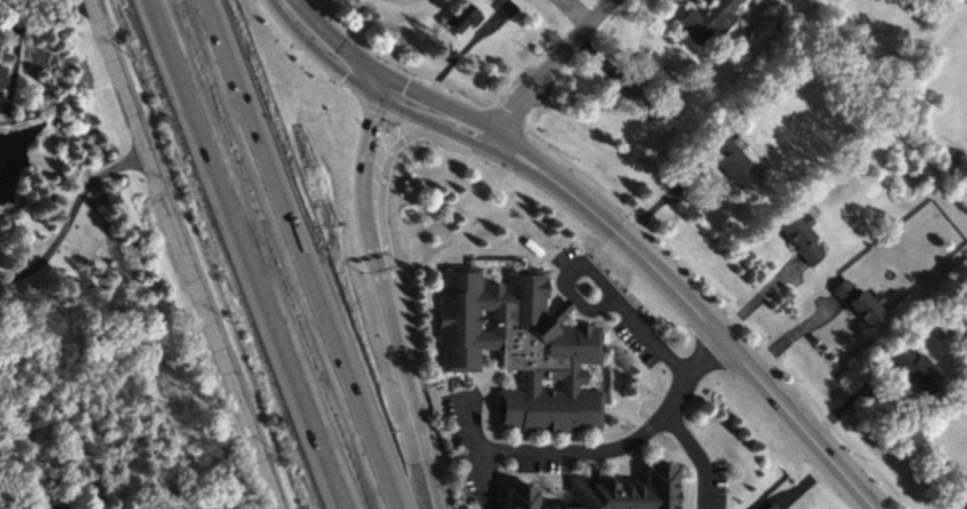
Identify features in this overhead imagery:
road: (283, 0)
road: (319, 9)
building: (507, 9)
road: (577, 13)
building: (462, 17)
building: (707, 20)
road: (47, 24)
road: (333, 39)
building: (779, 51)
road: (459, 55)
road: (601, 60)
road: (14, 68)
road: (553, 68)
building: (1, 74)
building: (647, 77)
traffic signals: (386, 80)
road: (383, 89)
road: (370, 91)
traffic signals: (381, 99)
road: (441, 103)
building: (689, 131)
building: (732, 133)
building: (732, 160)
building: (804, 179)
road: (667, 195)
road: (711, 201)
road: (70, 217)
road: (640, 222)
building: (800, 236)
road: (185, 254)
road: (242, 254)
road: (304, 254)
road: (758, 296)
building: (859, 303)
road: (695, 309)
road: (632, 320)
road: (791, 334)
building: (521, 347)
building: (917, 369)
road: (851, 401)
road: (475, 423)
road: (601, 451)
road: (697, 456)
building: (96, 457)
road: (806, 482)
building: (965, 487)
building: (608, 491)
road: (34, 504)
building: (772, 506)
building: (66, 507)

